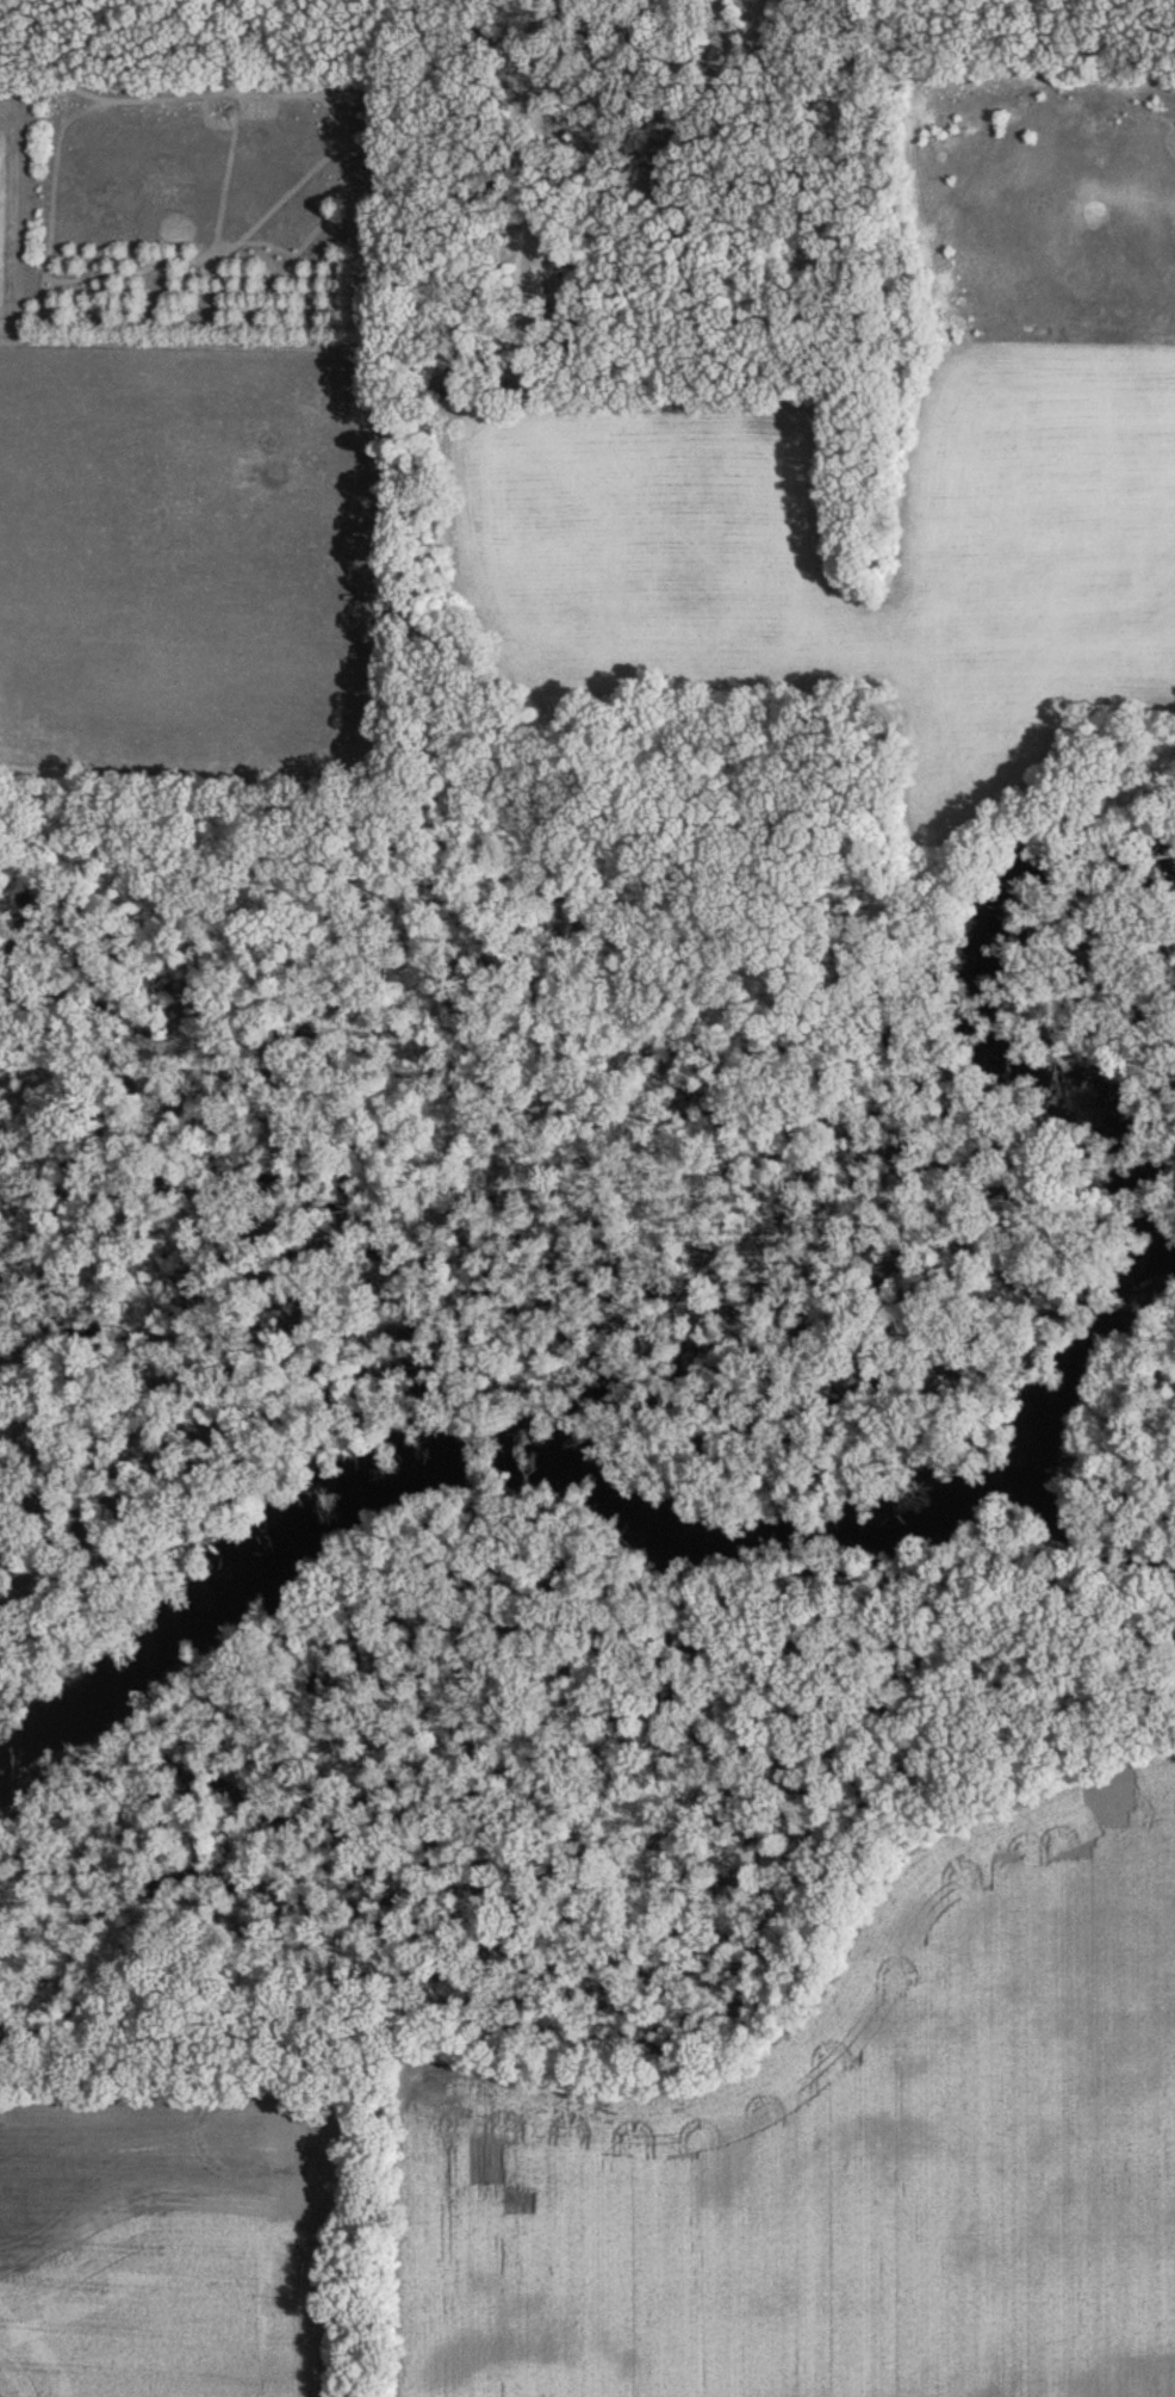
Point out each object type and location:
river: (857, 1526)

